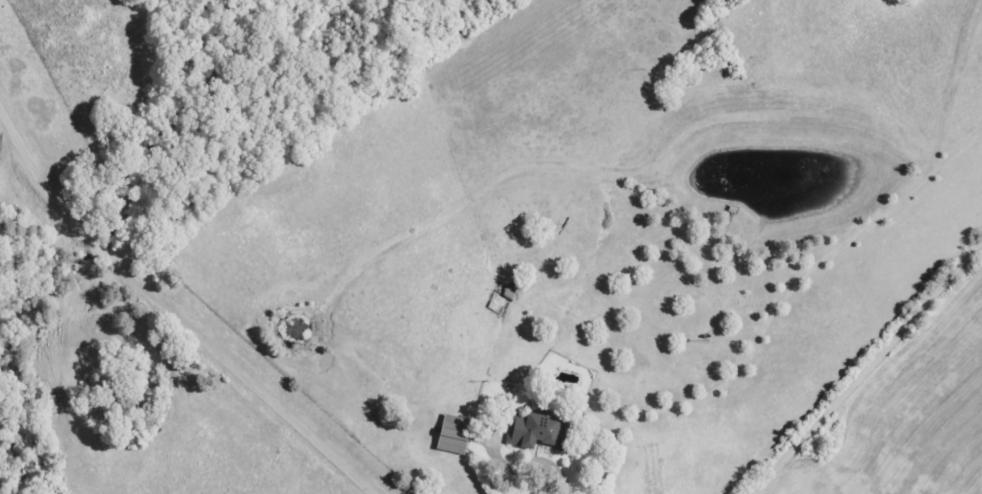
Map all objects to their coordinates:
road: (772, 307)
road: (148, 310)
road: (866, 368)
building: (534, 430)

